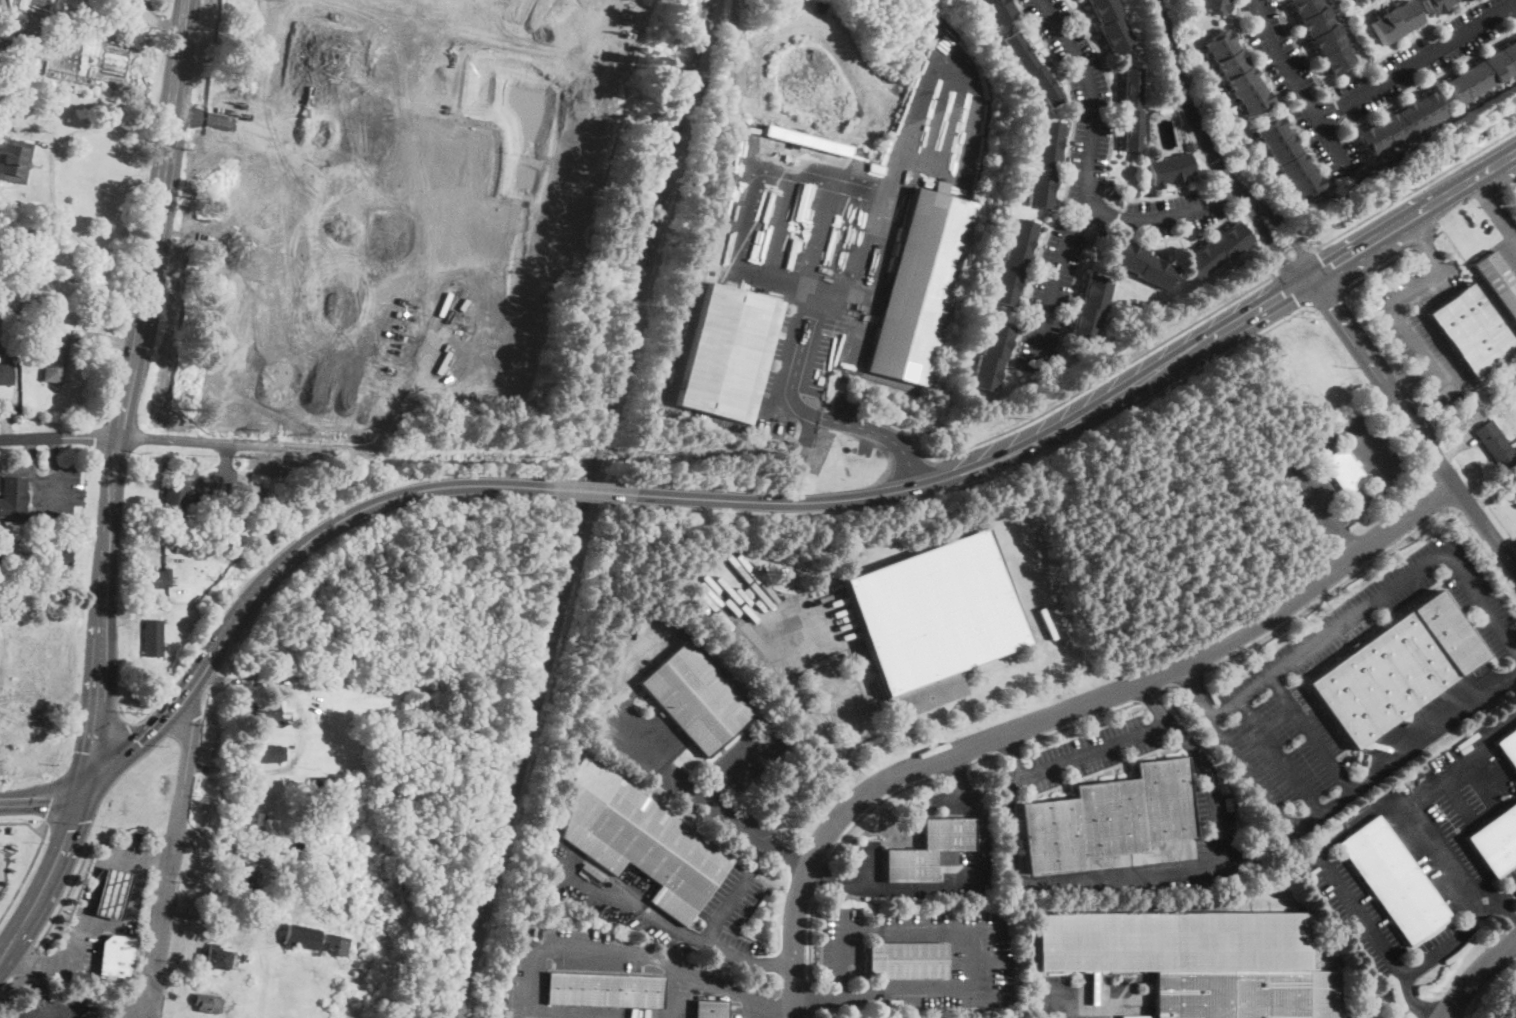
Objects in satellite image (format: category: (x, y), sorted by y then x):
building: (1454, 0)
building: (524, 1)
building: (0, 2)
building: (55, 4)
building: (498, 4)
building: (1215, 5)
building: (1436, 5)
road: (142, 7)
building: (596, 8)
building: (997, 10)
road: (559, 20)
road: (168, 21)
building: (1396, 21)
road: (594, 23)
building: (1111, 25)
building: (1323, 33)
road: (65, 37)
building: (291, 46)
building: (2, 59)
road: (1417, 60)
building: (13, 66)
building: (1032, 69)
building: (1237, 71)
road: (1356, 71)
building: (1482, 72)
building: (417, 78)
road: (1414, 84)
road: (1300, 88)
road: (1278, 93)
building: (1132, 109)
road: (1191, 112)
road: (260, 123)
building: (1401, 123)
railway: (732, 139)
building: (395, 145)
building: (1190, 145)
building: (1289, 157)
building: (14, 160)
building: (1044, 164)
building: (1171, 170)
road: (1087, 172)
road: (49, 174)
road: (582, 175)
road: (1507, 189)
road: (1409, 190)
building: (1114, 196)
road: (778, 209)
road: (1495, 209)
road: (1412, 216)
road: (156, 219)
building: (272, 221)
road: (334, 224)
building: (393, 224)
parking lot: (1503, 231)
road: (1291, 236)
road: (1425, 241)
road: (1276, 248)
building: (1218, 250)
road: (1388, 260)
road: (872, 262)
building: (1013, 262)
road: (1292, 262)
traffic signals: (1286, 263)
building: (1141, 264)
road: (813, 266)
traffic signals: (1328, 268)
road: (1327, 270)
building: (12, 273)
road: (435, 280)
road: (1056, 280)
building: (1498, 282)
building: (407, 284)
building: (919, 284)
building: (34, 288)
road: (1291, 290)
road: (280, 294)
traffic signals: (1283, 295)
road: (1331, 300)
building: (231, 303)
traffic signals: (1332, 306)
building: (1090, 309)
road: (1398, 320)
parking lot: (1419, 323)
building: (1473, 331)
road: (1191, 351)
road: (1228, 351)
building: (729, 353)
building: (55, 356)
building: (992, 357)
building: (249, 363)
building: (487, 368)
building: (5, 371)
road: (1110, 371)
road: (1411, 376)
building: (380, 378)
road: (1371, 403)
road: (1413, 422)
road: (59, 437)
road: (230, 445)
road: (1411, 445)
building: (1496, 445)
parking lot: (1377, 450)
parking lot: (1308, 471)
building: (1344, 471)
building: (1515, 490)
road: (589, 491)
road: (403, 493)
road: (1437, 494)
building: (13, 497)
road: (862, 497)
building: (1515, 498)
building: (174, 502)
railway: (582, 509)
road: (1332, 524)
road: (1343, 540)
building: (181, 548)
building: (233, 549)
building: (56, 556)
building: (2, 557)
road: (1373, 560)
building: (154, 579)
road: (1380, 595)
road: (103, 606)
building: (934, 620)
building: (153, 638)
building: (1393, 668)
road: (196, 677)
building: (304, 677)
road: (1190, 677)
building: (21, 686)
road: (1168, 687)
parking lot: (1261, 692)
road: (805, 694)
road: (1148, 696)
building: (695, 698)
road: (1152, 700)
parking lot: (831, 709)
building: (265, 711)
road: (1061, 712)
road: (1168, 720)
road: (1079, 723)
road: (1309, 730)
road: (95, 731)
road: (127, 745)
road: (1234, 747)
building: (1508, 747)
road: (1008, 749)
road: (1402, 750)
building: (269, 753)
road: (1277, 753)
road: (1011, 754)
parking lot: (1082, 756)
road: (983, 757)
parking lot: (747, 758)
road: (1457, 760)
road: (740, 766)
road: (954, 768)
traffic signals: (89, 777)
building: (322, 781)
road: (692, 785)
road: (53, 797)
road: (47, 800)
parking lot: (951, 800)
road: (873, 806)
road: (1491, 809)
parking lot: (718, 810)
road: (73, 813)
building: (1106, 817)
parking lot: (1458, 820)
building: (253, 821)
road: (24, 822)
parking lot: (1221, 825)
building: (640, 840)
building: (1495, 840)
building: (298, 848)
building: (928, 850)
road: (787, 856)
road: (174, 859)
road: (1440, 860)
parking lot: (865, 868)
road: (51, 869)
road: (866, 869)
road: (26, 871)
road: (93, 874)
road: (821, 874)
building: (245, 877)
road: (1067, 878)
parking lot: (1512, 878)
building: (1393, 880)
road: (959, 886)
road: (64, 893)
building: (112, 893)
road: (285, 898)
road: (1505, 899)
road: (724, 907)
road: (1503, 918)
parking lot: (711, 919)
parking lot: (1375, 921)
road: (951, 924)
road: (105, 927)
road: (809, 934)
building: (301, 935)
road: (695, 940)
building: (335, 944)
parking lot: (587, 947)
parking lot: (980, 951)
road: (610, 952)
building: (116, 956)
road: (26, 960)
building: (218, 960)
building: (906, 960)
building: (1198, 960)
road: (1393, 962)
road: (773, 963)
road: (1477, 976)
road: (8, 983)
building: (604, 990)
road: (680, 993)
road: (1077, 993)
road: (808, 996)
road: (843, 997)
parking lot: (1077, 998)
road: (1414, 1001)
building: (894, 1002)
building: (211, 1003)
parking lot: (60, 1006)
road: (750, 1007)
road: (772, 1008)
building: (710, 1009)
parking lot: (1362, 1010)
road: (53, 1011)
parking lot: (750, 1011)
road: (1365, 1011)
parking lot: (514, 1013)
road: (809, 1014)

